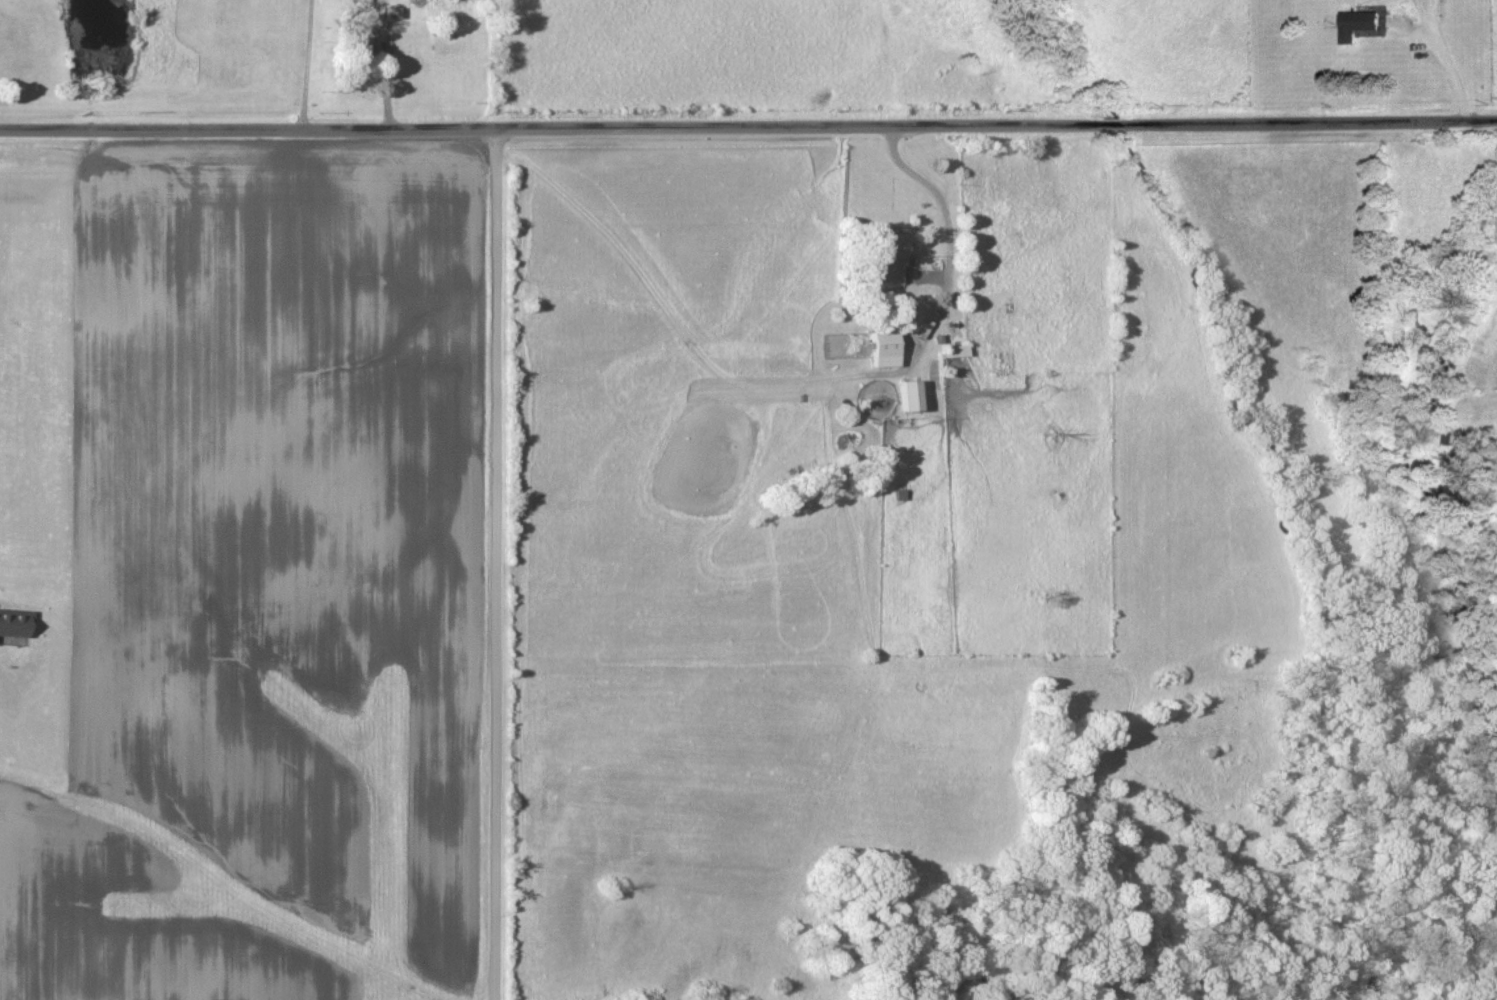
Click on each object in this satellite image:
building: (1359, 26)
building: (359, 41)
road: (748, 129)
building: (890, 259)
building: (885, 351)
building: (909, 398)
road: (491, 565)
building: (14, 625)

